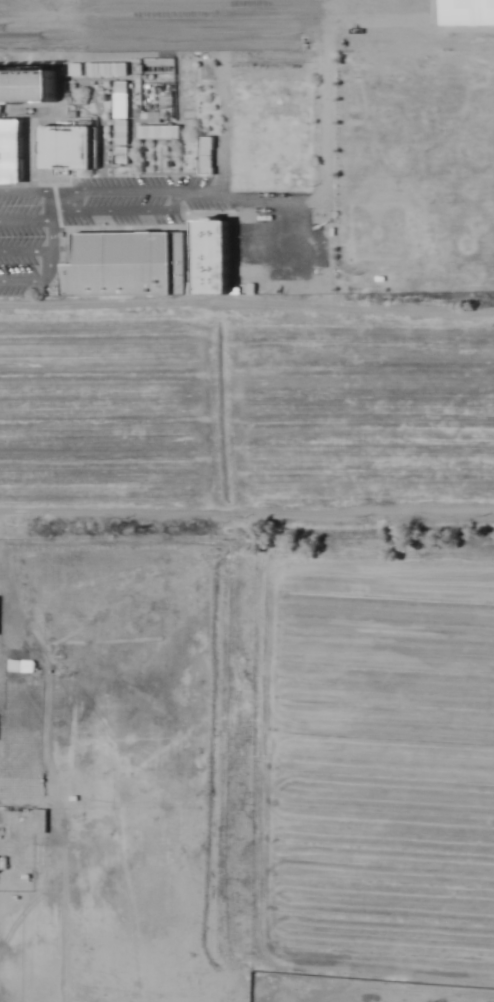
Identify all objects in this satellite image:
crop: (347, 116)

